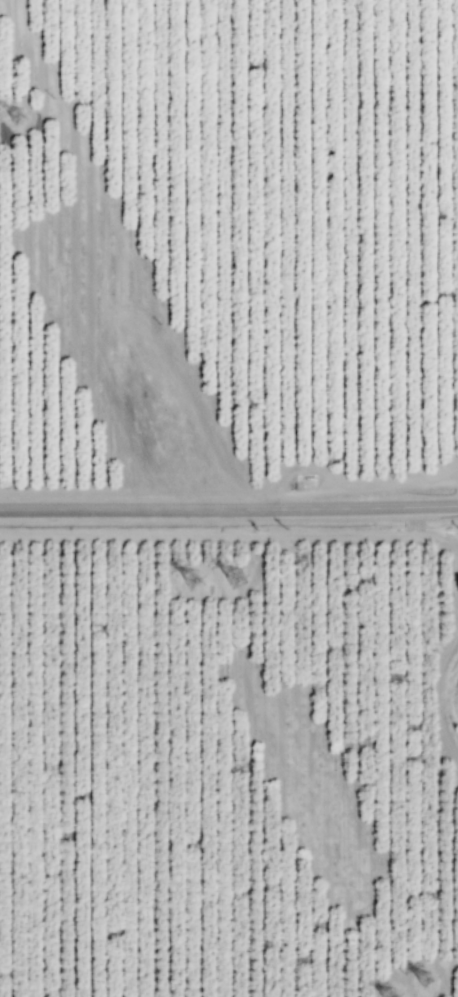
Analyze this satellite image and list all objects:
power tower: (16, 118)
road: (229, 508)
power tower: (235, 579)
power tower: (193, 581)
power tower: (425, 982)

